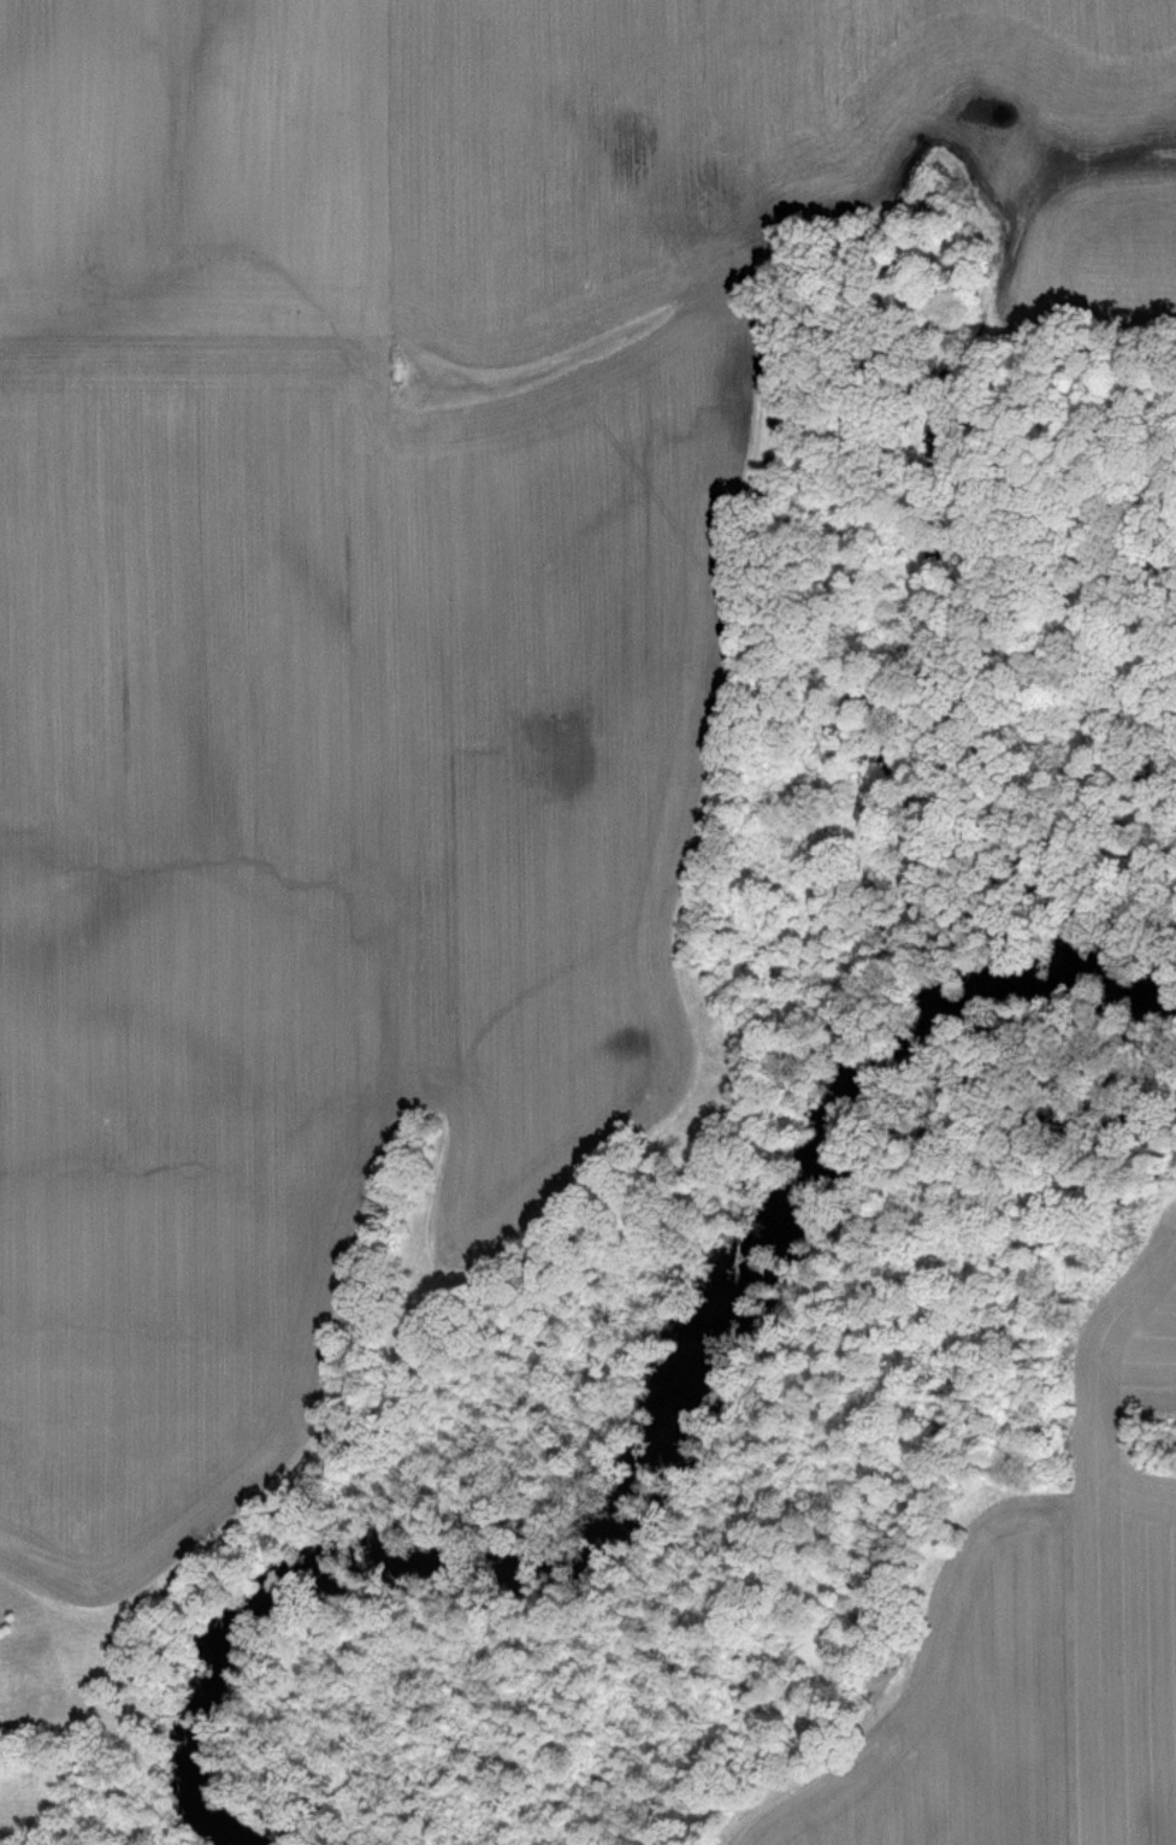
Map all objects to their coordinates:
river: (654, 1448)

